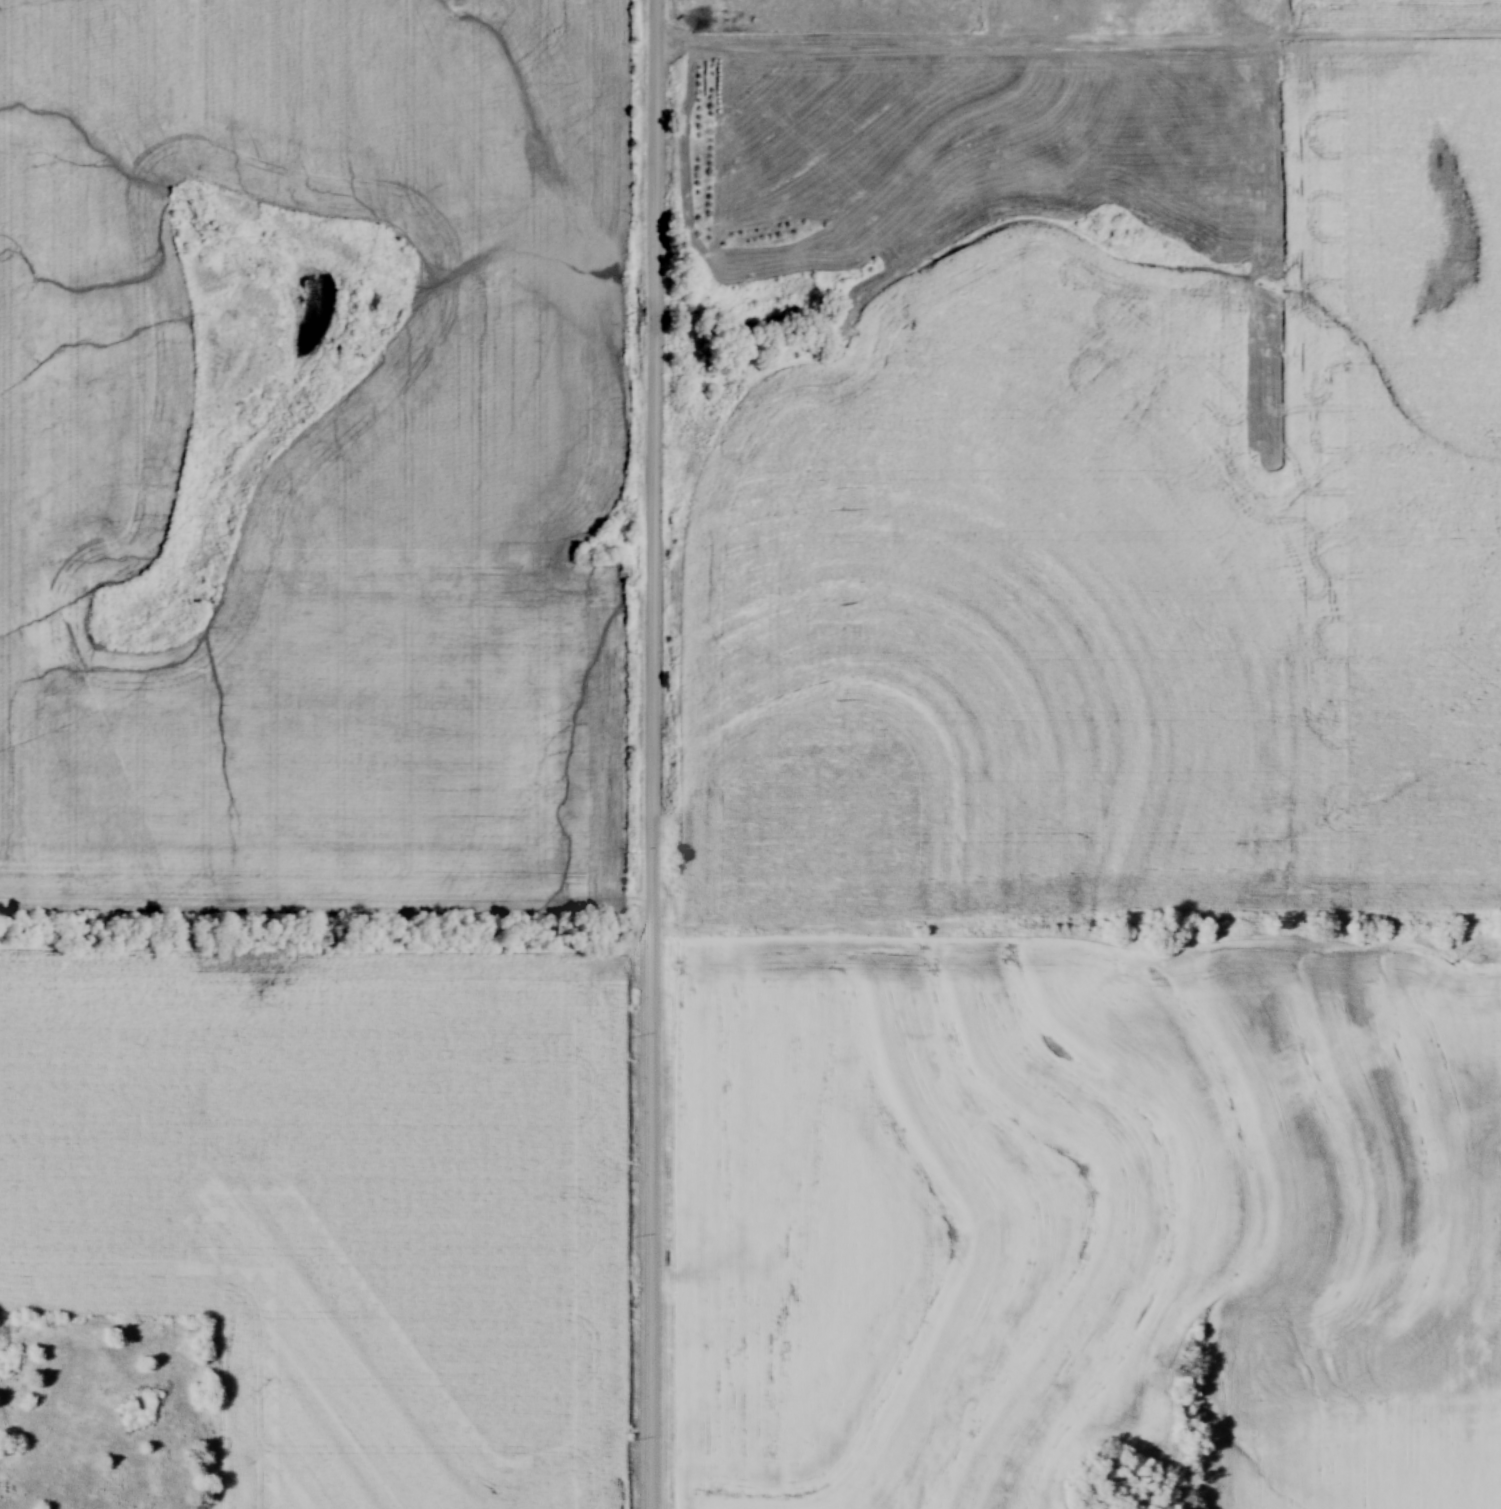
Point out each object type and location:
road: (654, 754)

